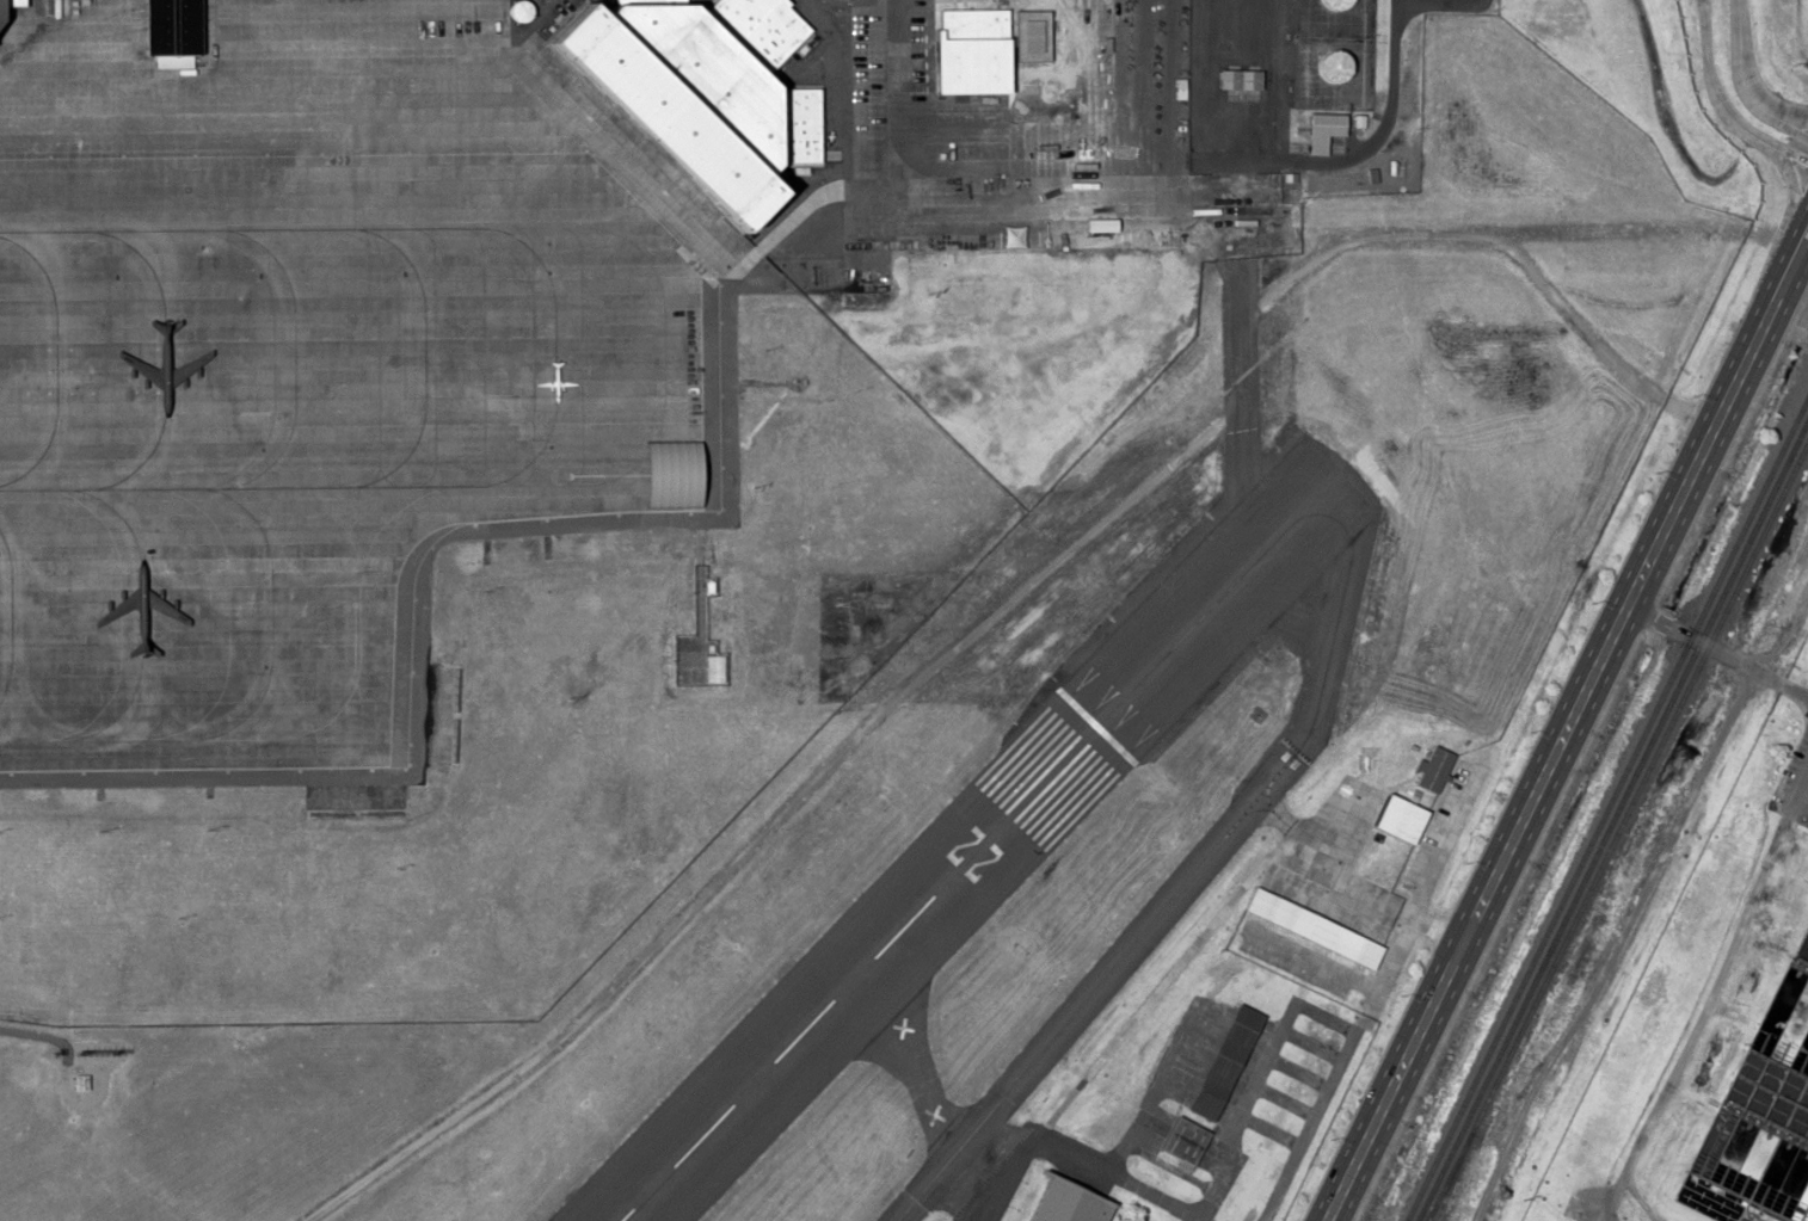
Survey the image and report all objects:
building: (2, 2)
building: (1330, 4)
building: (165, 26)
building: (966, 50)
building: (1327, 66)
road: (1757, 74)
building: (1236, 78)
road: (850, 85)
road: (1728, 98)
building: (632, 103)
road: (1806, 123)
building: (791, 124)
building: (1318, 130)
road: (1802, 169)
building: (1287, 186)
road: (813, 208)
building: (1096, 224)
airport apron: (313, 370)
airport: (799, 573)
road: (1684, 633)
building: (714, 667)
road: (1563, 730)
railway: (1605, 807)
railway: (1611, 816)
railway: (1616, 832)
airport runway: (971, 847)
airport taxiway: (1199, 864)
wastewater plant: (1711, 1023)
airport hangar: (1315, 1035)
building: (1315, 1035)
airport hangar: (1220, 1063)
building: (1220, 1063)
building: (79, 1080)
airport hangar: (1185, 1139)
building: (1185, 1139)
railway: (1455, 1178)
airport hangar: (1068, 1202)
building: (1068, 1202)

